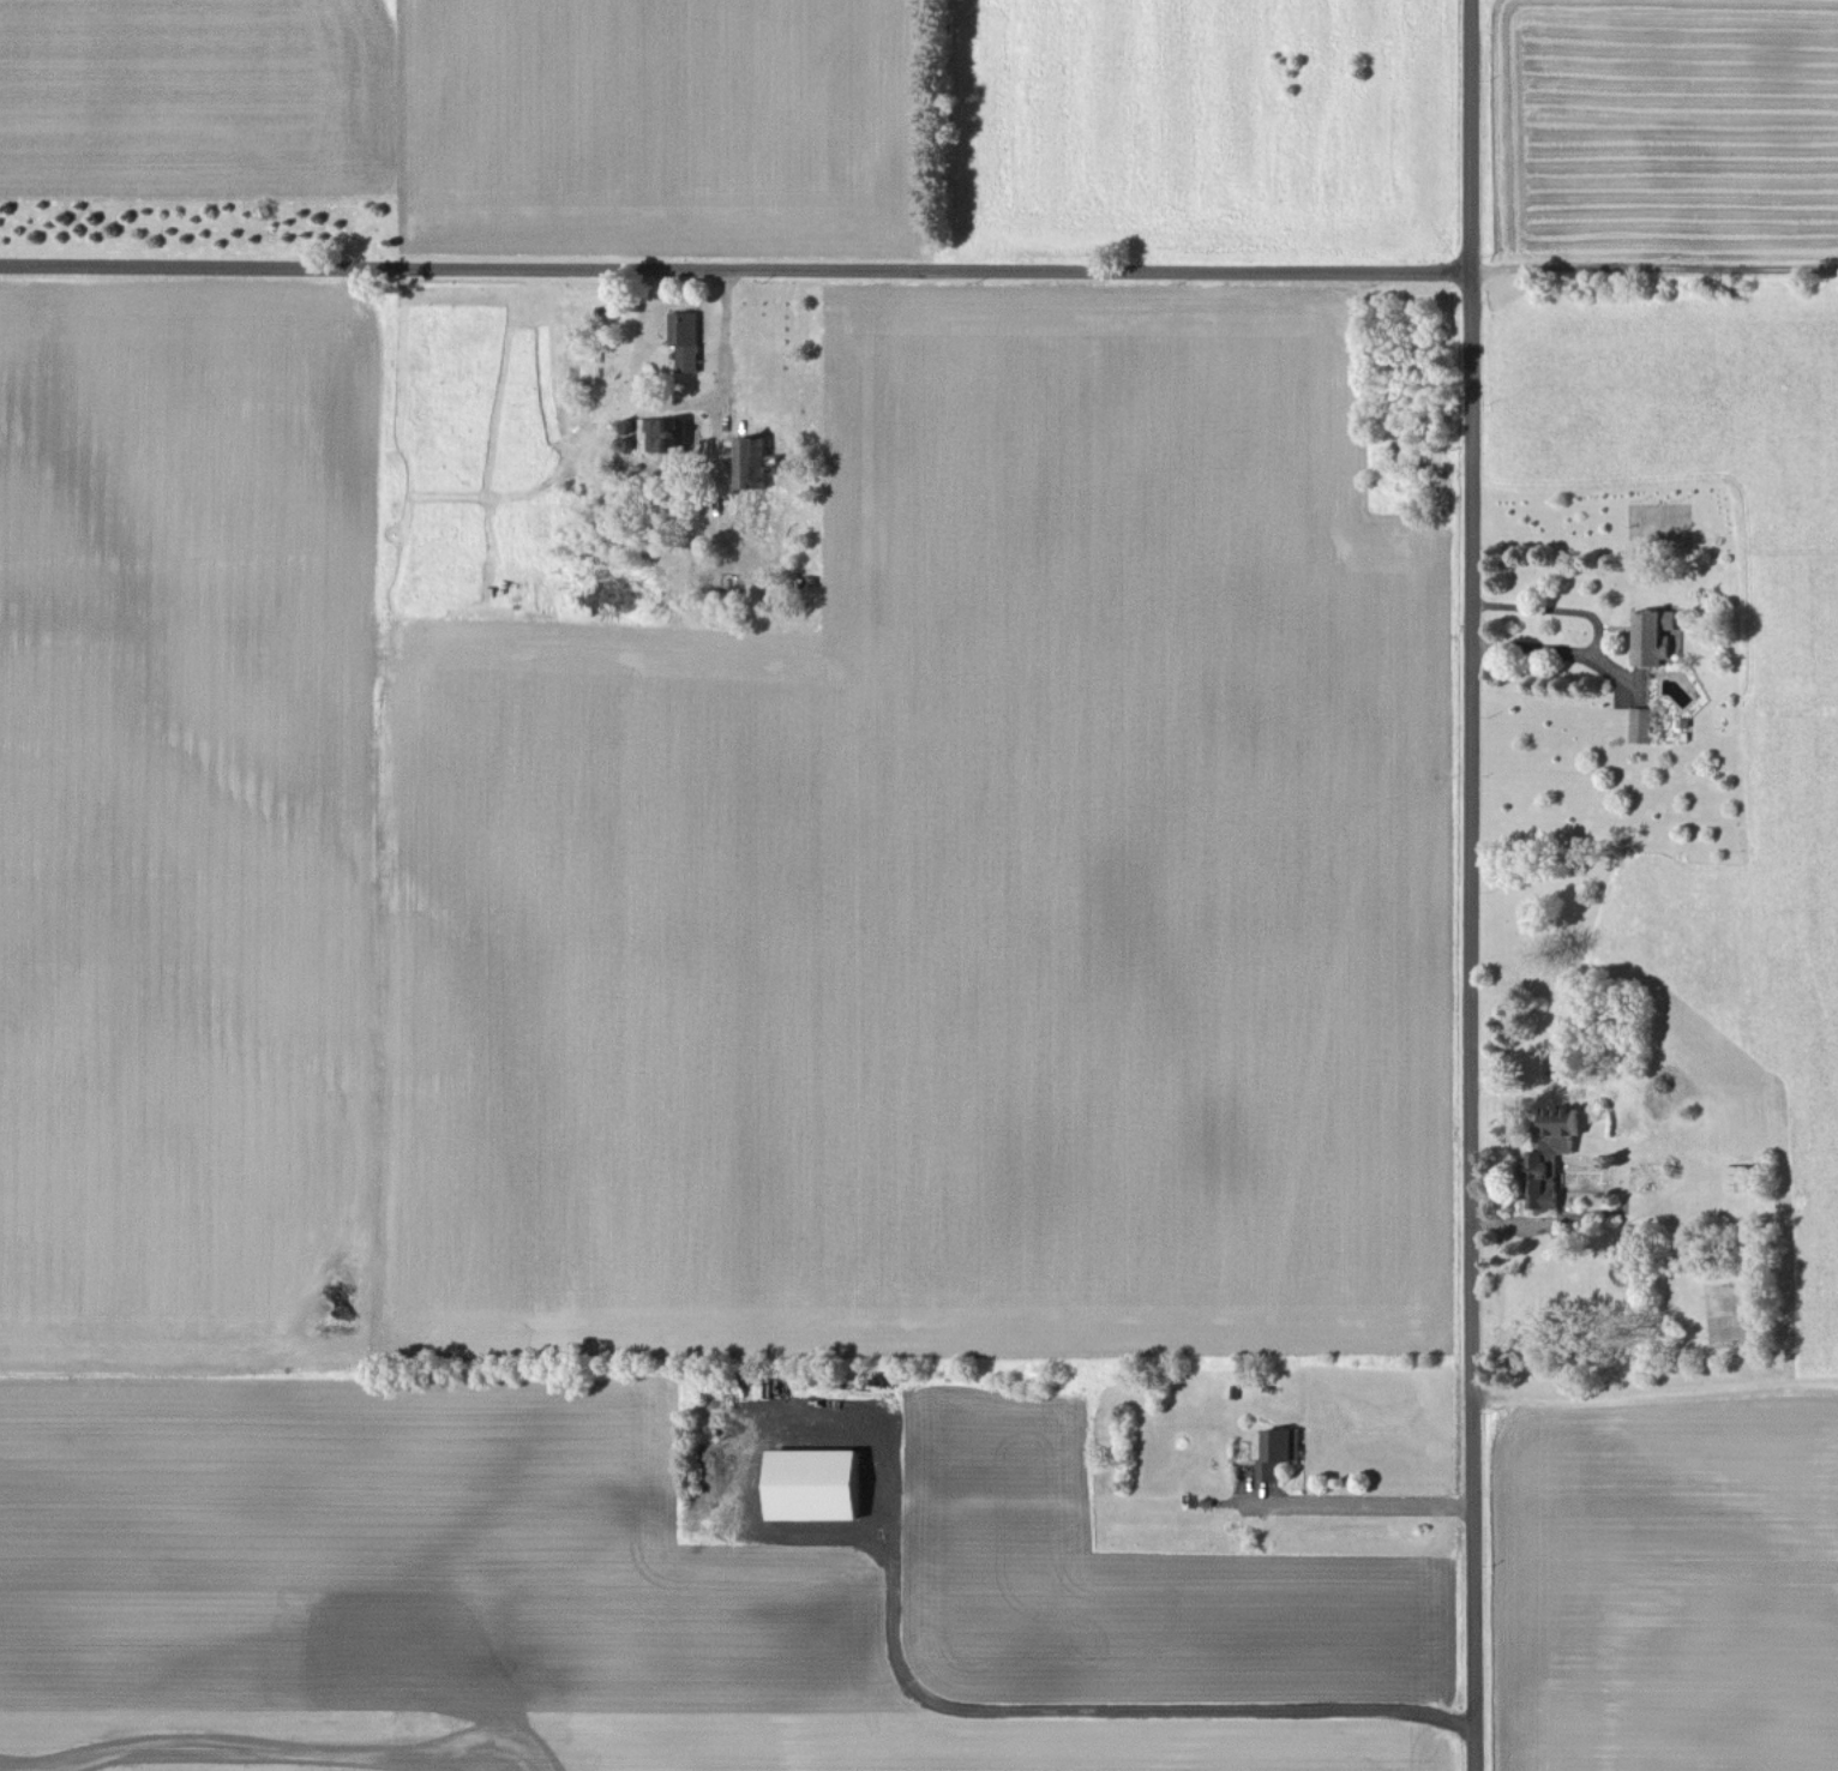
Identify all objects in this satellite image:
road: (735, 270)
road: (1656, 272)
building: (685, 338)
road: (678, 402)
building: (677, 433)
building: (751, 461)
road: (1591, 636)
building: (1654, 636)
building: (1640, 724)
road: (1474, 884)
building: (1550, 1153)
building: (1736, 1177)
building: (1279, 1449)
building: (816, 1483)
road: (1371, 1502)
road: (1089, 1709)

